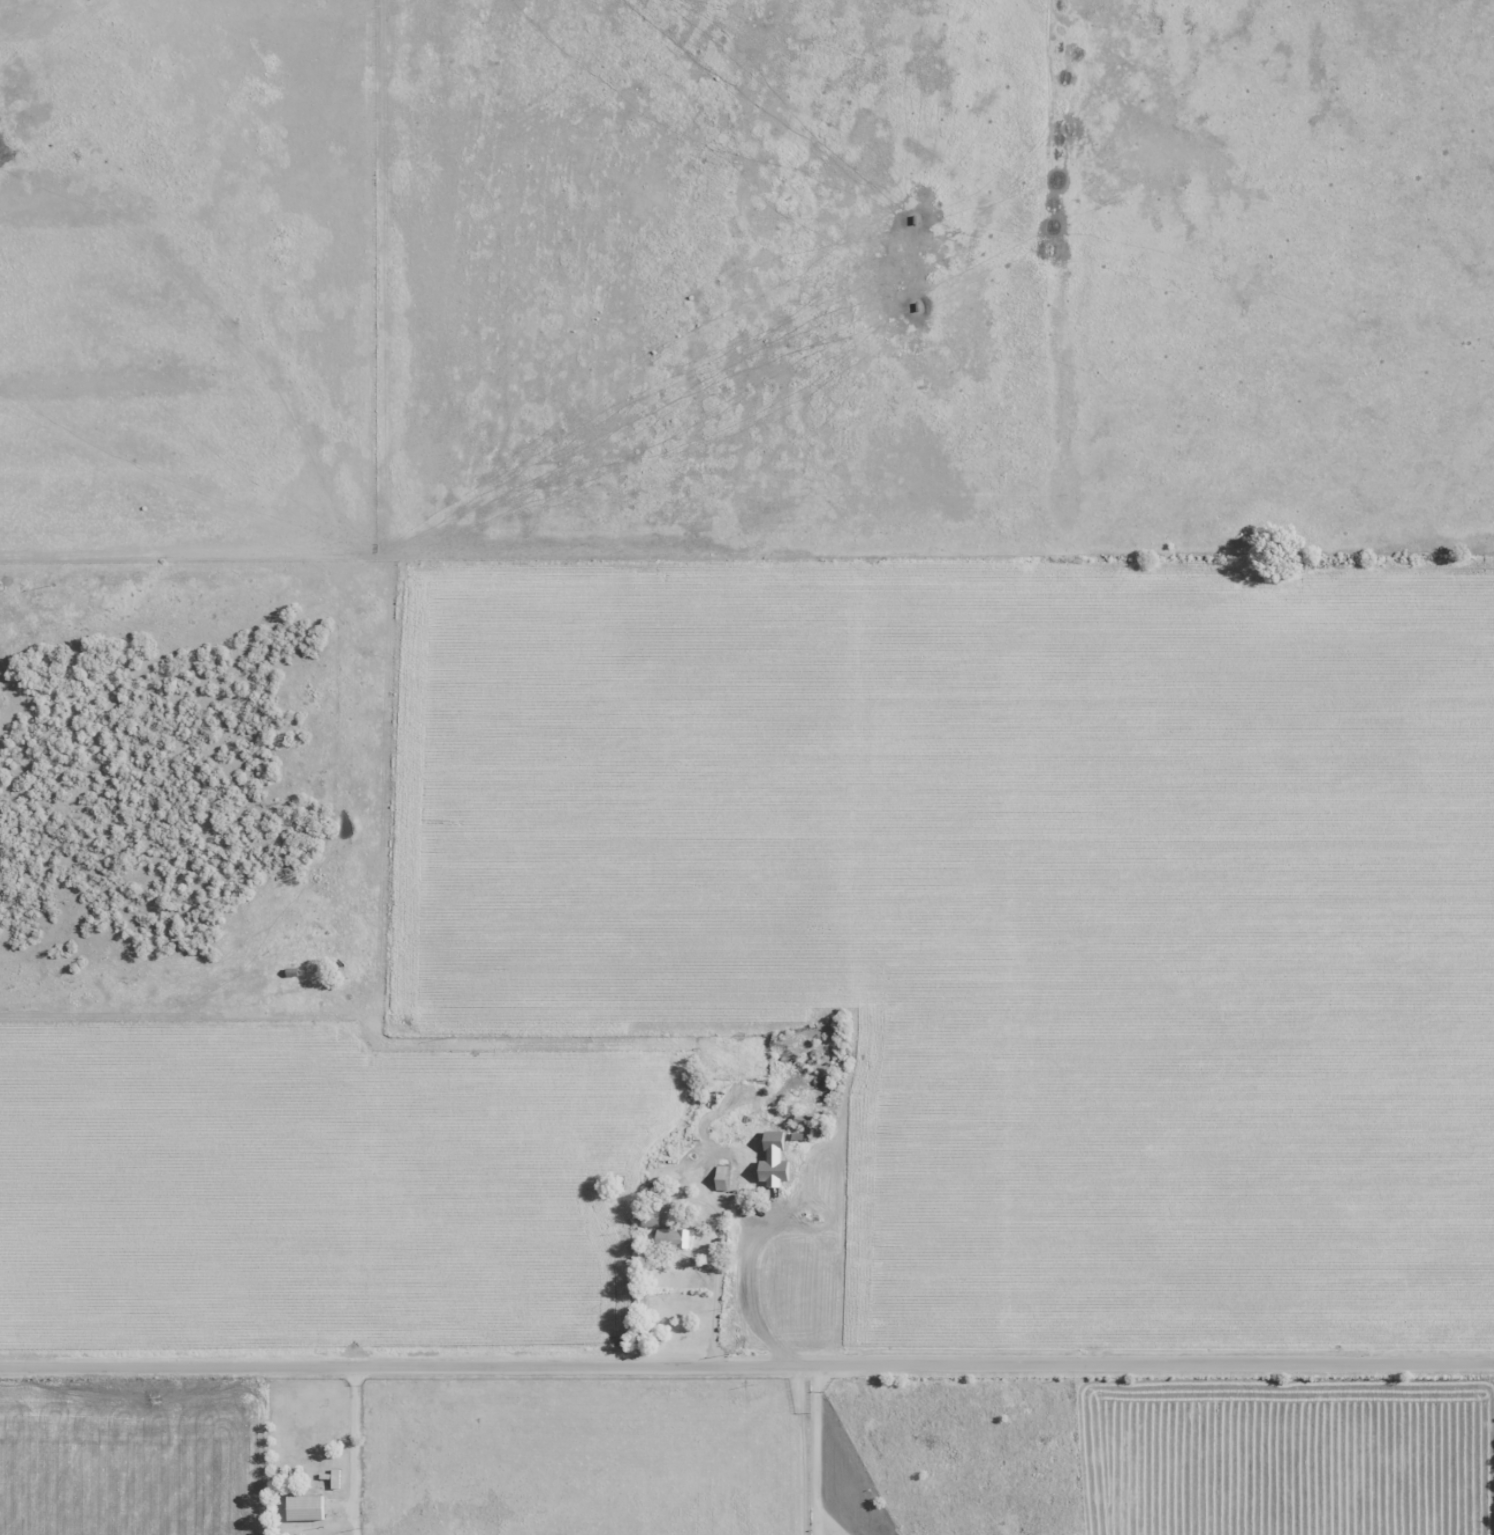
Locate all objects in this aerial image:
road: (640, 1064)
building: (651, 1220)
building: (672, 1239)
road: (747, 1365)
road: (353, 1446)
road: (803, 1449)
road: (233, 1451)
road: (817, 1451)
building: (335, 1479)

